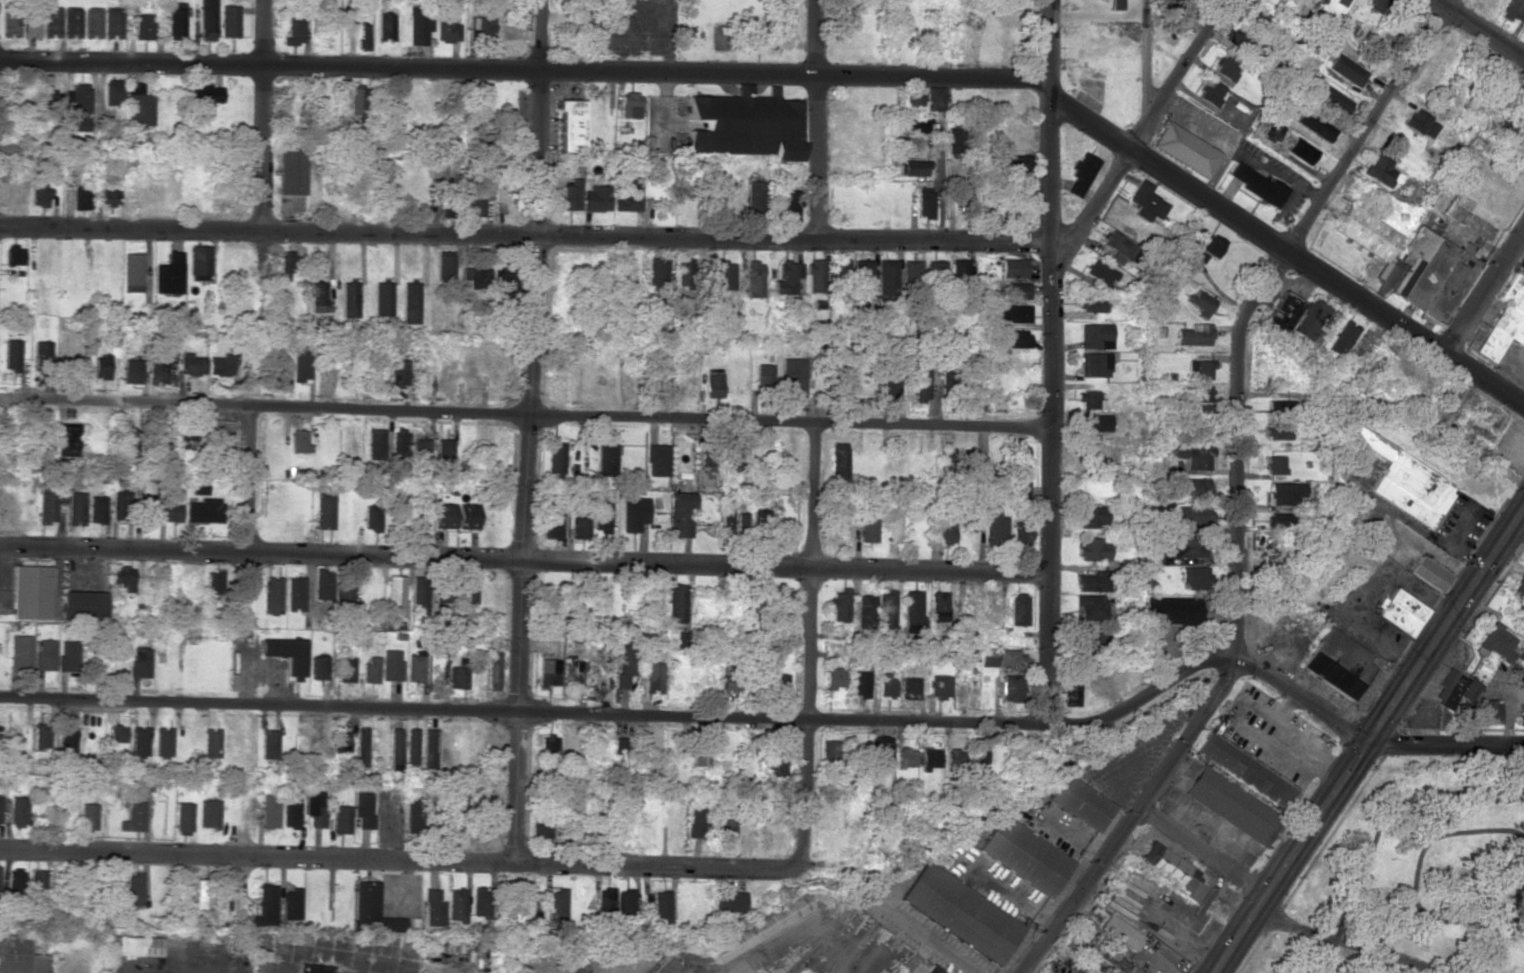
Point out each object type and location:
building: (1340, 2)
building: (1379, 4)
building: (1180, 5)
building: (1513, 11)
building: (1255, 17)
building: (175, 20)
building: (207, 20)
building: (92, 21)
building: (229, 21)
building: (10, 22)
building: (30, 23)
building: (51, 23)
building: (71, 24)
building: (112, 24)
building: (418, 24)
building: (143, 26)
building: (384, 26)
building: (446, 27)
building: (480, 28)
road: (1476, 29)
building: (294, 30)
building: (1172, 33)
building: (363, 37)
building: (1238, 38)
road: (1146, 60)
building: (1226, 66)
road: (526, 69)
building: (1346, 70)
building: (113, 92)
building: (1210, 92)
building: (912, 99)
building: (933, 99)
building: (203, 100)
building: (1334, 100)
building: (358, 101)
building: (47, 102)
building: (138, 105)
building: (629, 105)
building: (79, 107)
road: (261, 115)
road: (821, 119)
building: (1421, 124)
building: (567, 125)
building: (744, 125)
building: (913, 125)
building: (1314, 126)
road: (1143, 127)
building: (1271, 132)
building: (954, 141)
building: (1183, 149)
building: (1301, 151)
building: (1013, 163)
building: (913, 166)
building: (1380, 170)
building: (289, 172)
building: (1080, 174)
road: (941, 184)
building: (1257, 185)
building: (922, 186)
building: (39, 193)
building: (570, 194)
building: (627, 195)
building: (109, 196)
building: (962, 196)
building: (754, 197)
building: (80, 198)
building: (476, 198)
building: (594, 199)
building: (1145, 202)
building: (450, 204)
building: (924, 204)
building: (790, 205)
road: (524, 234)
building: (1207, 243)
building: (1116, 247)
road: (1284, 249)
building: (13, 255)
building: (1415, 261)
building: (198, 263)
building: (287, 265)
building: (444, 266)
building: (960, 266)
building: (1012, 268)
building: (840, 270)
building: (936, 270)
building: (911, 271)
building: (132, 272)
building: (657, 273)
building: (684, 273)
building: (863, 273)
building: (169, 274)
building: (1100, 274)
building: (724, 275)
building: (816, 275)
building: (476, 277)
building: (787, 277)
building: (754, 279)
building: (887, 279)
road: (1485, 291)
building: (316, 295)
building: (349, 299)
building: (382, 299)
road: (1258, 302)
building: (409, 303)
building: (1200, 303)
building: (1091, 304)
building: (1283, 312)
building: (1010, 314)
building: (1311, 321)
building: (1505, 321)
building: (1194, 335)
building: (1095, 336)
building: (1343, 338)
building: (1016, 339)
building: (41, 351)
building: (10, 355)
road: (1050, 362)
building: (1094, 364)
building: (191, 365)
building: (100, 366)
building: (301, 367)
building: (1201, 369)
building: (160, 370)
building: (131, 371)
building: (280, 372)
building: (399, 372)
building: (793, 377)
building: (763, 378)
building: (712, 383)
building: (920, 386)
building: (890, 389)
building: (1198, 393)
building: (1087, 400)
building: (1282, 409)
road: (525, 416)
building: (1094, 423)
road: (526, 432)
building: (1277, 432)
building: (217, 434)
building: (184, 436)
building: (65, 439)
building: (299, 441)
building: (127, 443)
building: (375, 444)
building: (410, 447)
building: (444, 448)
building: (1095, 454)
building: (1194, 456)
building: (555, 457)
building: (708, 459)
building: (605, 460)
building: (657, 460)
building: (838, 462)
building: (969, 462)
building: (1275, 465)
building: (1020, 473)
building: (1404, 481)
building: (197, 486)
building: (1194, 486)
building: (1285, 493)
building: (145, 501)
building: (49, 503)
building: (120, 507)
building: (74, 508)
building: (95, 509)
building: (325, 509)
building: (203, 510)
building: (414, 511)
building: (169, 513)
building: (633, 514)
building: (679, 514)
building: (1193, 514)
building: (443, 516)
building: (1092, 516)
building: (372, 517)
building: (601, 517)
building: (468, 518)
building: (1278, 520)
building: (552, 521)
building: (732, 522)
building: (993, 523)
building: (579, 528)
building: (867, 528)
building: (943, 531)
building: (783, 533)
building: (1022, 535)
building: (1185, 547)
building: (1092, 550)
road: (524, 562)
building: (1523, 565)
building: (1429, 574)
building: (122, 577)
building: (1194, 578)
building: (1093, 581)
building: (213, 582)
building: (322, 584)
building: (1518, 585)
building: (30, 592)
building: (295, 592)
building: (468, 594)
building: (273, 595)
building: (394, 595)
building: (419, 595)
building: (345, 598)
building: (675, 603)
building: (839, 604)
building: (81, 605)
building: (939, 606)
building: (864, 607)
building: (1093, 607)
building: (886, 609)
building: (1018, 609)
building: (912, 610)
building: (1172, 610)
building: (1400, 612)
building: (315, 622)
road: (1446, 626)
road: (243, 631)
building: (682, 639)
building: (1091, 642)
building: (1493, 643)
road: (808, 647)
building: (19, 652)
building: (286, 654)
building: (44, 655)
building: (67, 655)
building: (1519, 655)
building: (998, 657)
building: (140, 662)
building: (1337, 663)
building: (624, 664)
building: (392, 665)
building: (318, 668)
building: (414, 668)
building: (370, 669)
building: (344, 670)
building: (493, 670)
building: (548, 672)
building: (573, 674)
building: (458, 676)
building: (652, 678)
building: (835, 678)
building: (779, 683)
building: (861, 684)
building: (910, 685)
building: (939, 685)
building: (886, 686)
building: (1012, 688)
building: (1453, 690)
building: (1070, 693)
road: (1140, 697)
road: (1300, 700)
building: (1486, 711)
road: (522, 713)
building: (1519, 718)
building: (115, 734)
building: (40, 737)
building: (65, 741)
building: (138, 742)
building: (162, 742)
building: (210, 742)
building: (339, 743)
building: (269, 744)
traffic signals: (1368, 744)
road: (1446, 744)
building: (547, 745)
building: (411, 746)
building: (361, 747)
building: (395, 749)
building: (429, 749)
building: (831, 753)
building: (881, 754)
building: (953, 756)
building: (906, 757)
building: (931, 759)
building: (776, 760)
building: (1246, 771)
building: (143, 784)
building: (1080, 802)
building: (1231, 806)
building: (315, 808)
building: (363, 809)
building: (17, 810)
building: (458, 810)
building: (269, 812)
building: (209, 813)
building: (291, 813)
building: (87, 816)
building: (132, 817)
building: (182, 817)
building: (413, 817)
road: (1134, 818)
building: (341, 820)
building: (540, 822)
building: (695, 822)
building: (726, 830)
road: (1202, 854)
building: (1024, 856)
road: (1290, 859)
road: (400, 861)
building: (1172, 869)
park: (1414, 877)
building: (36, 879)
building: (13, 885)
building: (133, 889)
building: (203, 894)
building: (729, 901)
building: (480, 902)
building: (606, 902)
building: (290, 904)
building: (625, 904)
building: (265, 905)
building: (456, 905)
building: (661, 905)
building: (530, 906)
building: (555, 906)
building: (434, 908)
building: (372, 911)
building: (961, 913)
building: (759, 928)
building: (1120, 932)
road: (1351, 943)
building: (134, 946)
road: (938, 952)
building: (19, 955)
building: (313, 968)
building: (931, 969)
building: (799, 970)
building: (1110, 971)

